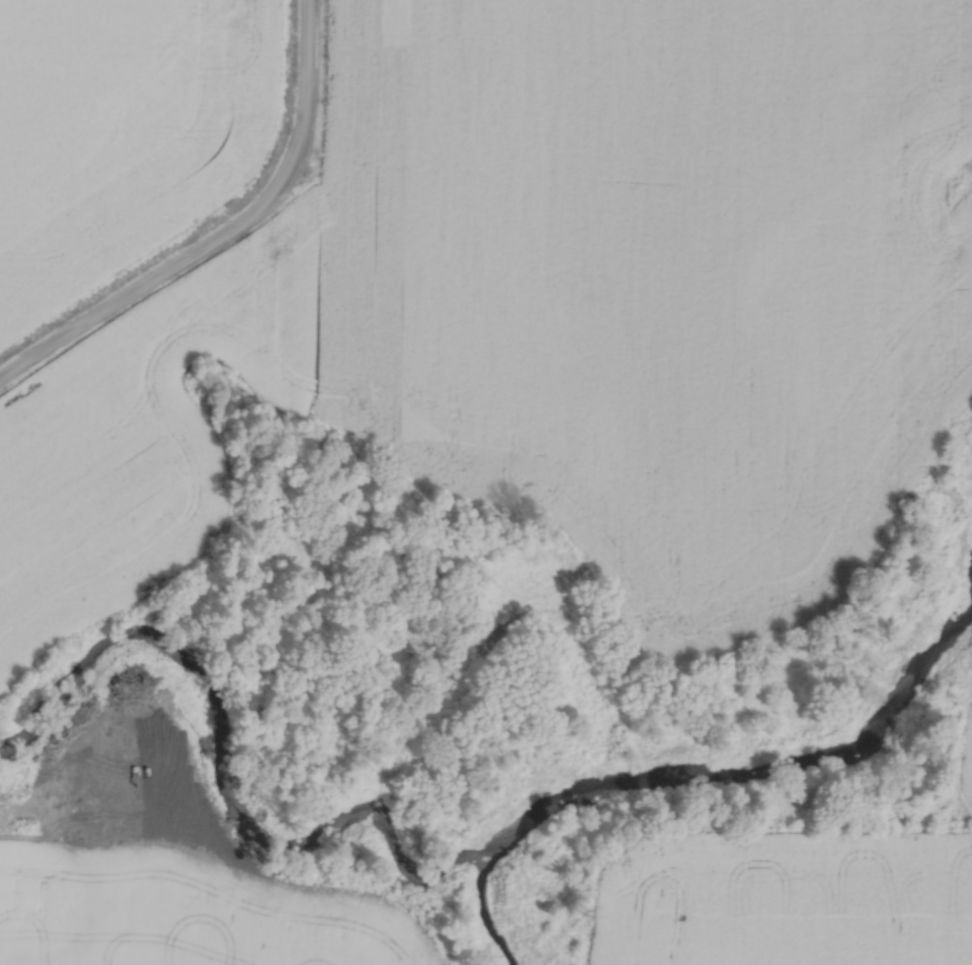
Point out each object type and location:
road: (223, 236)

